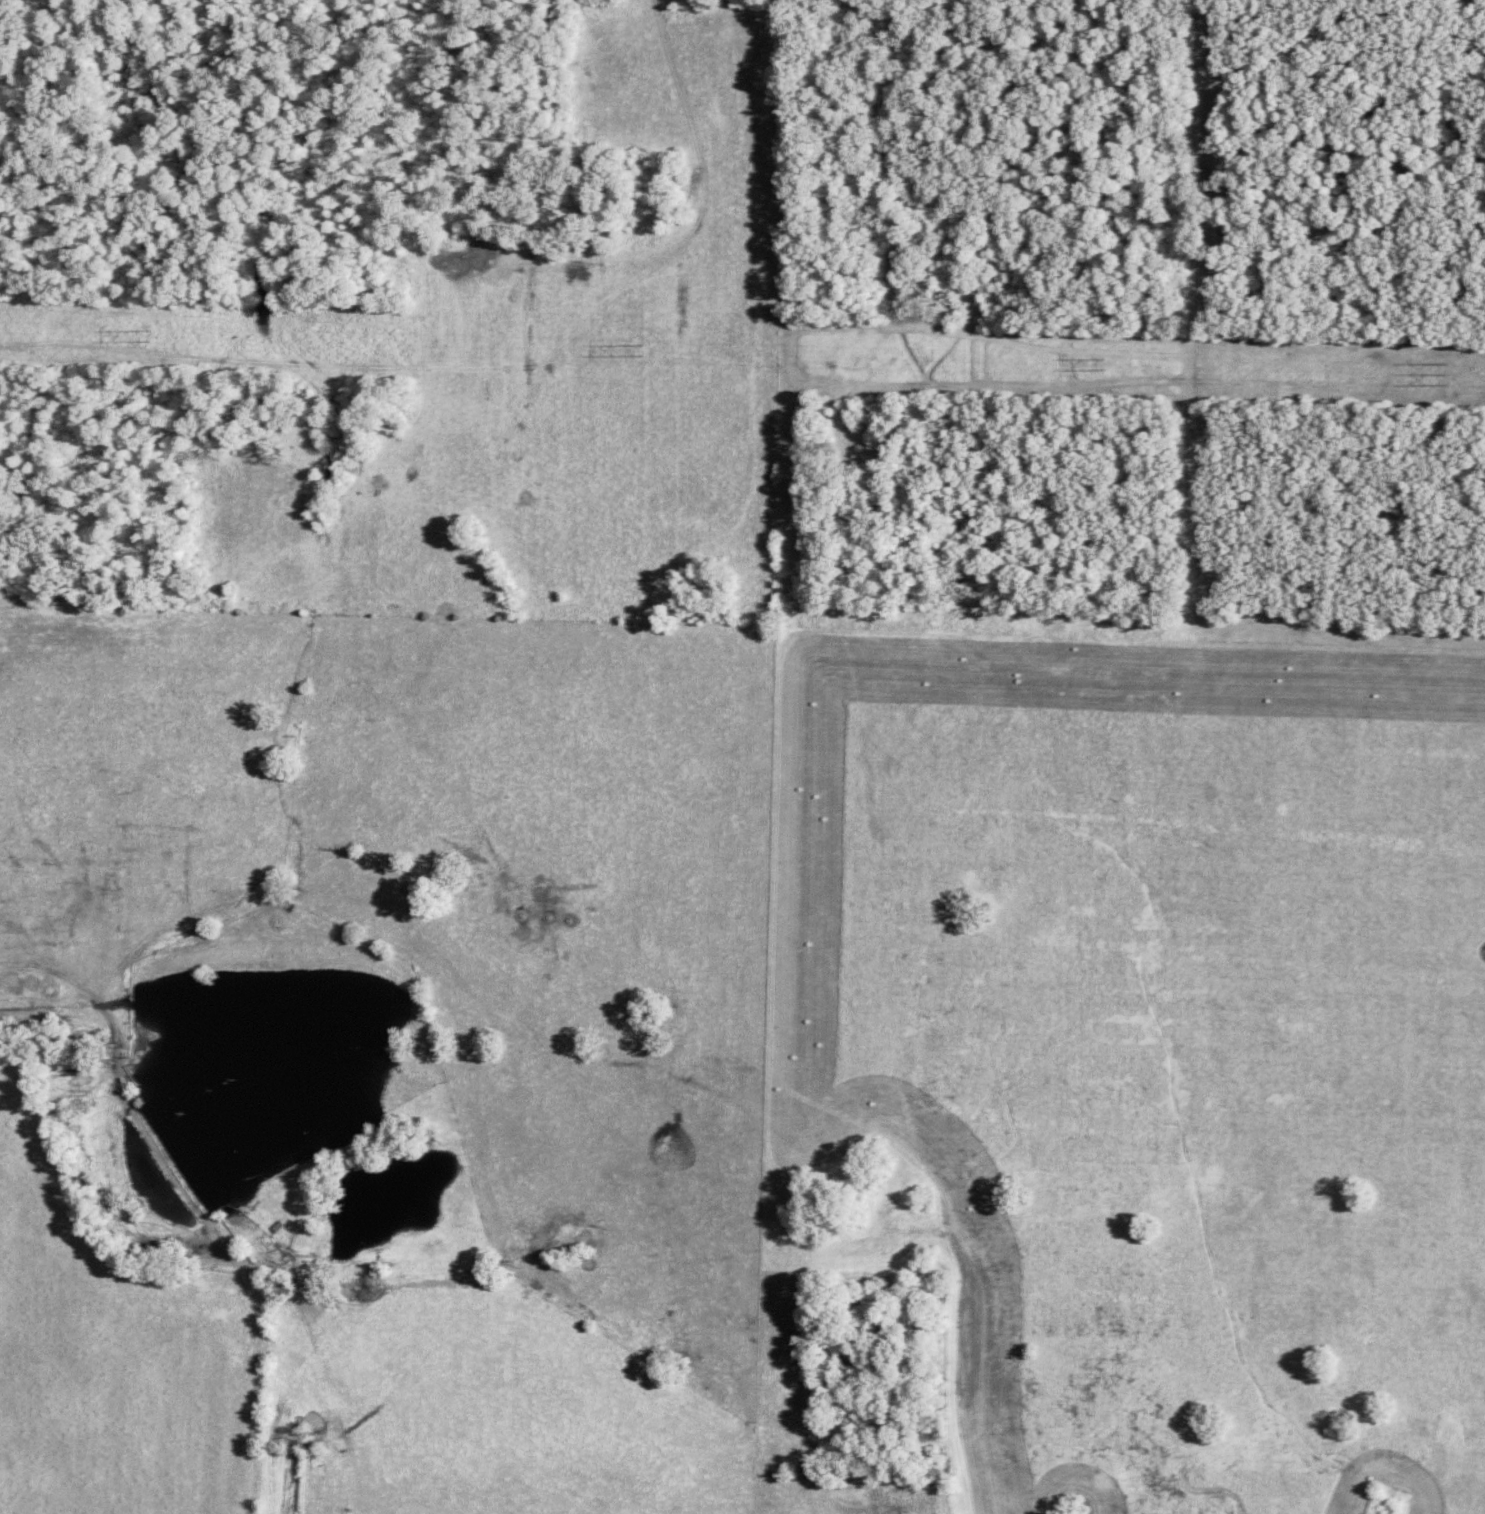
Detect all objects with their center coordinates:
power tower: (146, 338)
power tower: (638, 352)
power tower: (1103, 366)
power tower: (1443, 375)

